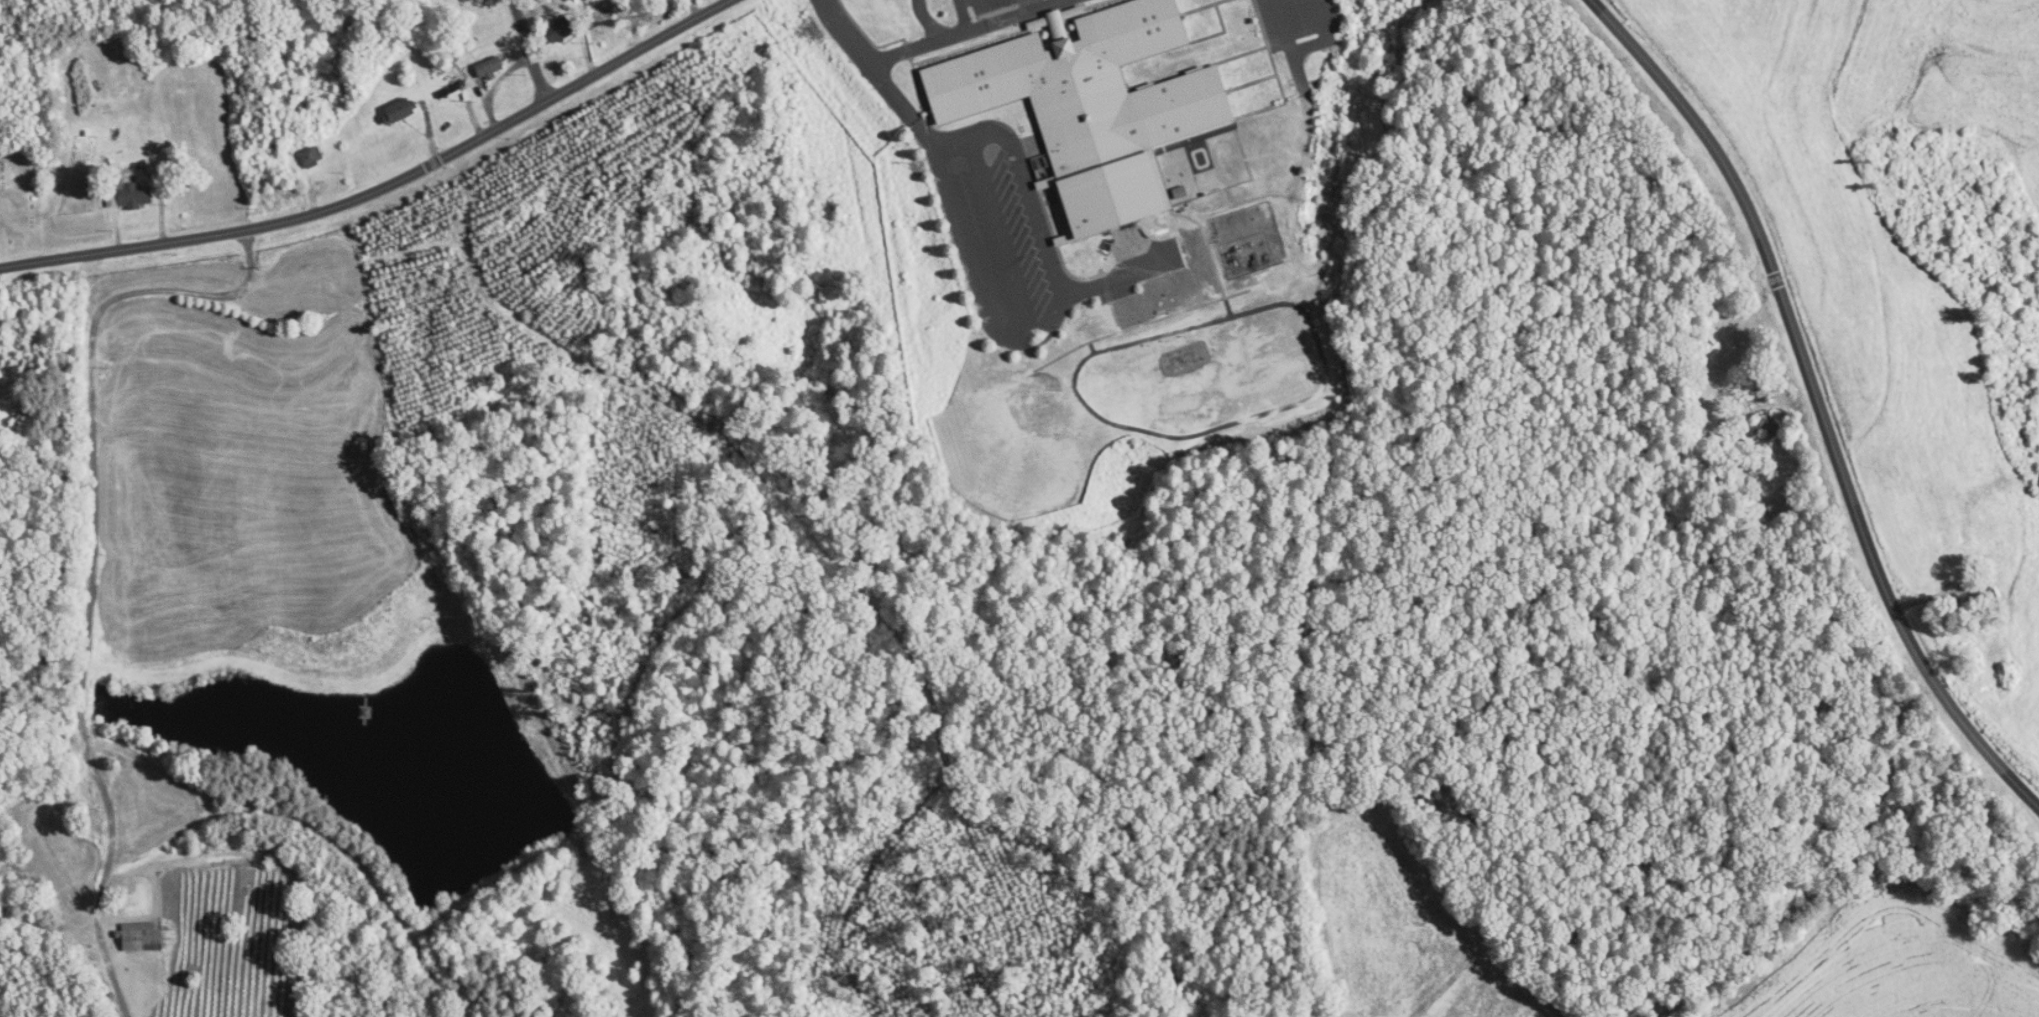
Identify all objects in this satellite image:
building: (603, 12)
road: (961, 15)
road: (1012, 15)
road: (925, 21)
building: (559, 31)
road: (917, 46)
road: (1304, 49)
road: (529, 50)
building: (490, 68)
road: (877, 72)
building: (1089, 106)
building: (402, 111)
building: (315, 157)
road: (382, 187)
building: (134, 195)
park: (20, 197)
road: (998, 234)
road: (1115, 276)
road: (1053, 312)
road: (1818, 400)
building: (1763, 426)
road: (94, 559)
dam: (509, 878)
building: (144, 937)

